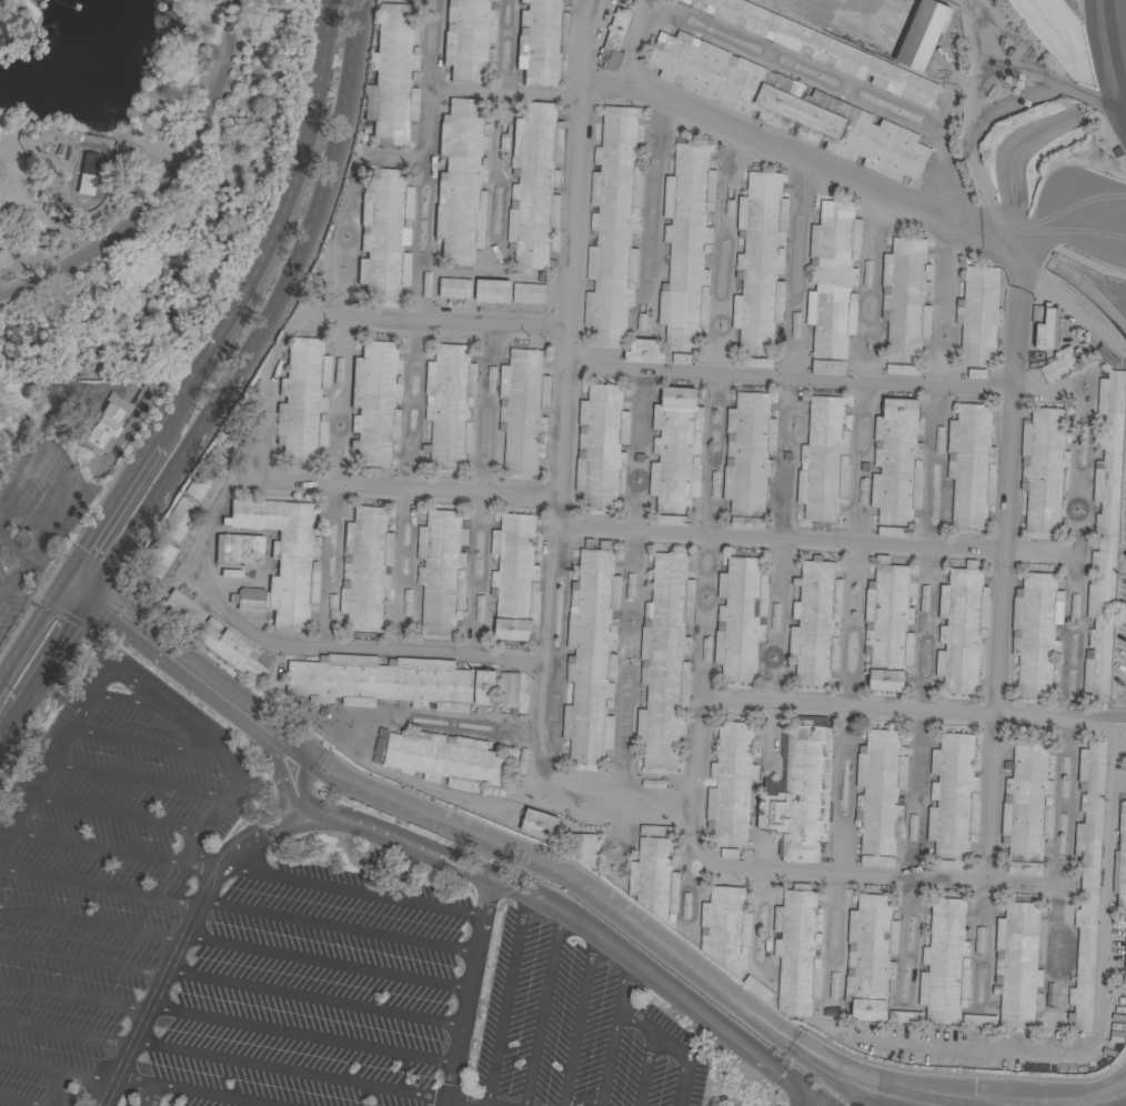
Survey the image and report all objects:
road: (861, 7)
road: (881, 7)
track: (1059, 29)
building: (922, 34)
building: (466, 39)
building: (614, 39)
building: (541, 41)
building: (823, 49)
track: (1108, 56)
building: (392, 77)
building: (787, 105)
building: (503, 137)
road: (390, 160)
road: (806, 164)
road: (329, 168)
building: (87, 172)
building: (461, 182)
building: (534, 183)
road: (164, 185)
building: (730, 202)
track: (1080, 213)
park: (122, 223)
building: (613, 227)
road: (280, 233)
building: (384, 234)
building: (686, 247)
road: (1080, 248)
building: (760, 263)
building: (866, 273)
building: (833, 278)
building: (425, 284)
building: (454, 288)
building: (493, 291)
building: (529, 293)
building: (905, 304)
road: (1078, 305)
road: (145, 313)
building: (1037, 314)
building: (641, 316)
building: (978, 316)
building: (794, 325)
building: (1047, 330)
building: (643, 351)
building: (1106, 356)
building: (681, 359)
building: (755, 362)
building: (828, 368)
building: (1057, 369)
building: (338, 371)
building: (976, 373)
road: (814, 379)
building: (491, 380)
building: (302, 401)
building: (374, 403)
building: (450, 406)
building: (522, 410)
building: (103, 424)
building: (939, 439)
building: (230, 440)
building: (601, 446)
building: (676, 450)
building: (748, 459)
road: (177, 460)
building: (823, 461)
building: (896, 463)
building: (971, 465)
building: (1043, 469)
road: (555, 470)
building: (371, 473)
building: (204, 475)
building: (714, 484)
road: (395, 487)
road: (76, 489)
building: (862, 490)
road: (223, 494)
road: (114, 511)
parking lot: (36, 517)
building: (178, 519)
building: (673, 521)
building: (892, 532)
building: (1104, 535)
road: (814, 540)
building: (238, 549)
road: (34, 557)
building: (280, 559)
building: (365, 567)
building: (224, 572)
building: (441, 572)
road: (1001, 575)
building: (514, 577)
traffic signals: (69, 581)
building: (630, 586)
traffic signals: (90, 594)
building: (924, 597)
building: (406, 602)
building: (1074, 606)
building: (332, 607)
building: (479, 607)
building: (192, 614)
building: (774, 616)
building: (740, 619)
building: (815, 623)
building: (887, 625)
building: (962, 629)
road: (87, 630)
road: (33, 632)
building: (1035, 632)
road: (50, 653)
building: (591, 655)
building: (664, 661)
building: (389, 682)
road: (212, 685)
building: (507, 690)
road: (46, 695)
road: (151, 700)
road: (124, 701)
road: (6, 722)
road: (143, 741)
road: (697, 754)
building: (448, 760)
building: (521, 761)
road: (138, 780)
building: (654, 784)
building: (731, 784)
building: (800, 791)
building: (878, 795)
building: (953, 802)
building: (1027, 806)
road: (114, 815)
building: (539, 824)
building: (912, 826)
building: (655, 831)
road: (421, 845)
road: (94, 846)
building: (583, 847)
building: (728, 853)
building: (1122, 858)
parking lot: (104, 872)
building: (654, 879)
building: (1087, 881)
road: (100, 888)
road: (355, 891)
road: (623, 918)
road: (91, 924)
road: (341, 926)
building: (725, 928)
building: (978, 939)
building: (797, 951)
building: (869, 956)
road: (82, 961)
road: (330, 962)
building: (1017, 963)
building: (945, 964)
building: (1125, 967)
building: (832, 985)
building: (757, 988)
parking lot: (313, 992)
road: (472, 992)
building: (1049, 995)
road: (74, 998)
road: (318, 998)
road: (505, 998)
road: (542, 1007)
road: (577, 1016)
building: (904, 1016)
building: (978, 1020)
road: (1097, 1023)
parking lot: (572, 1029)
road: (651, 1029)
road: (304, 1037)
road: (609, 1057)
road: (225, 1062)
road: (28, 1066)
road: (644, 1068)
road: (84, 1078)
road: (148, 1084)
road: (52, 1088)
road: (211, 1096)
road: (801, 1097)
road: (17, 1103)
road: (465, 1103)

